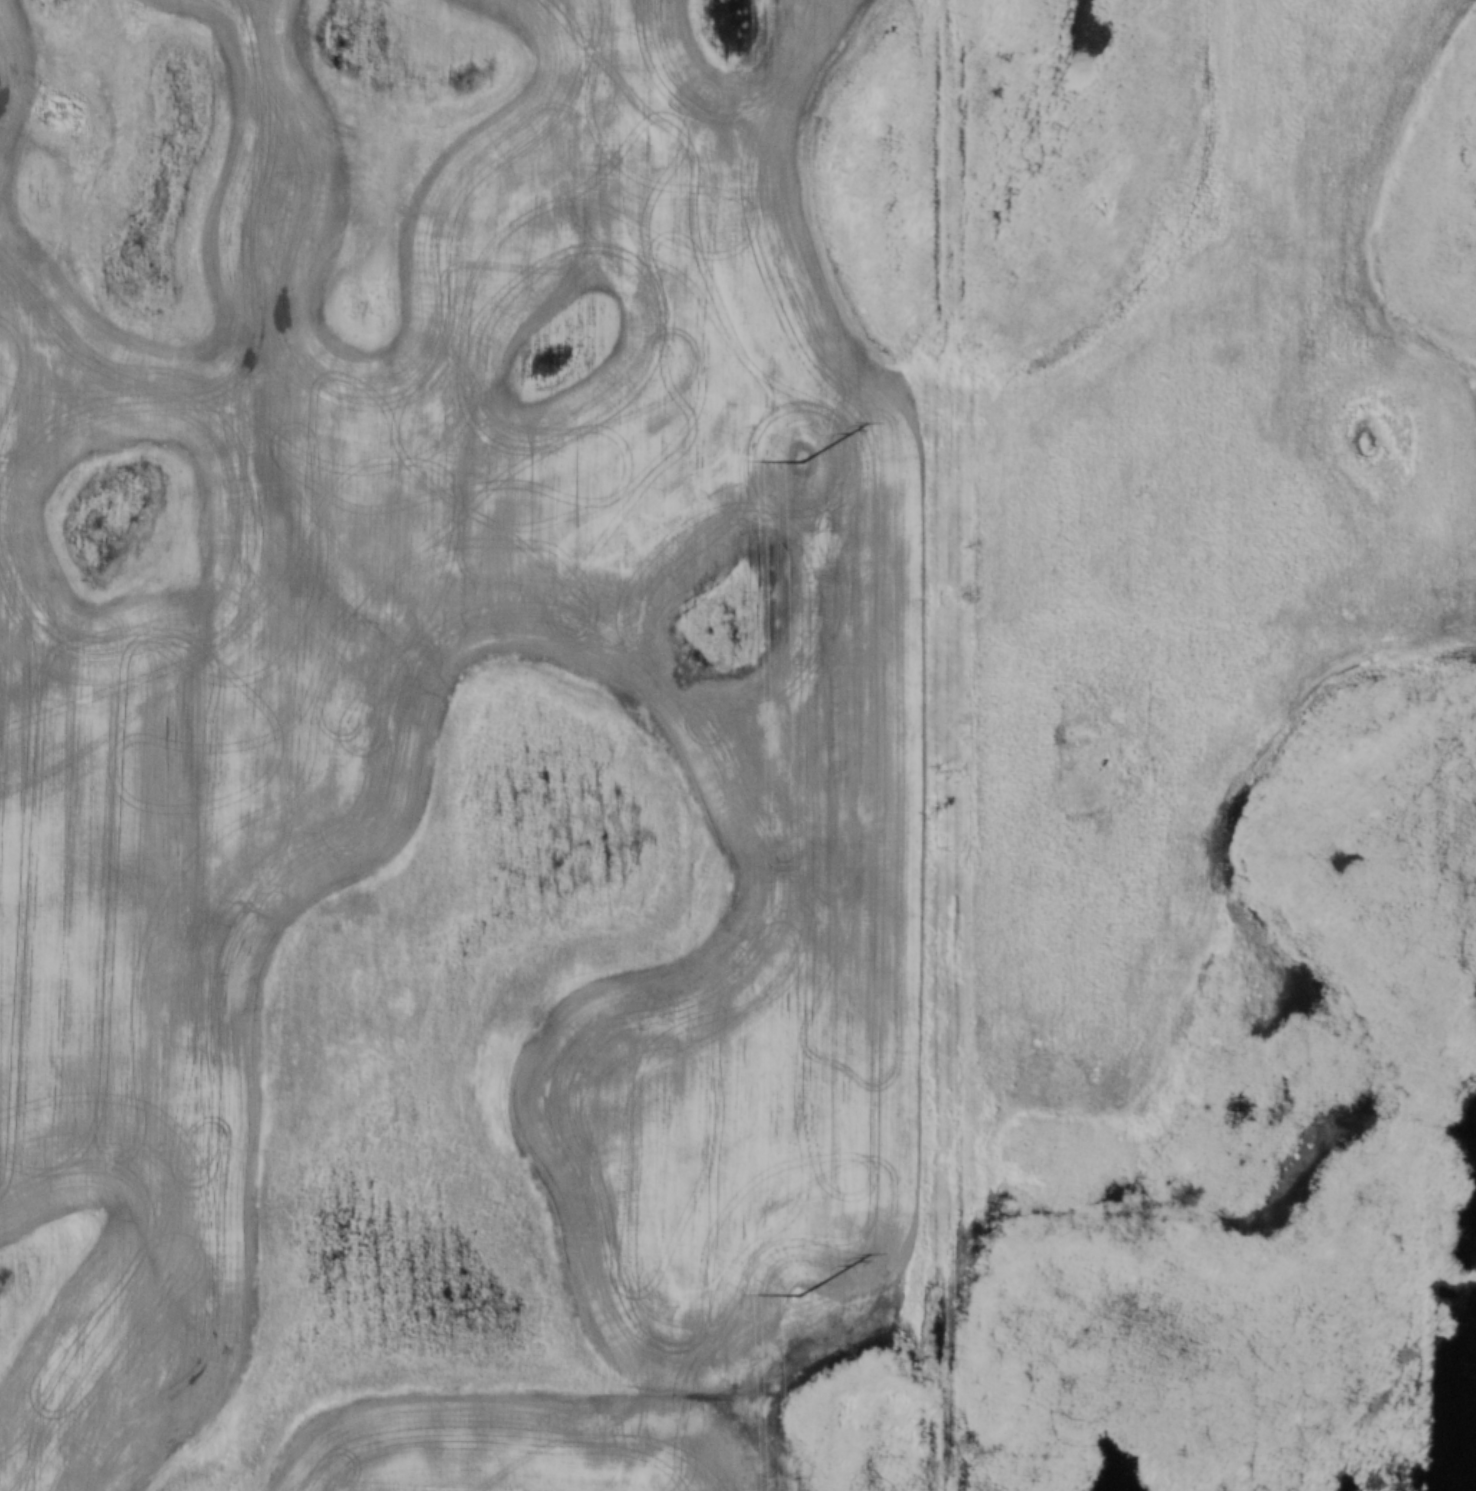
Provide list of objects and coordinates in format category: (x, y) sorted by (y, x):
power tower: (812, 457)
road: (953, 745)
power tower: (803, 1297)

